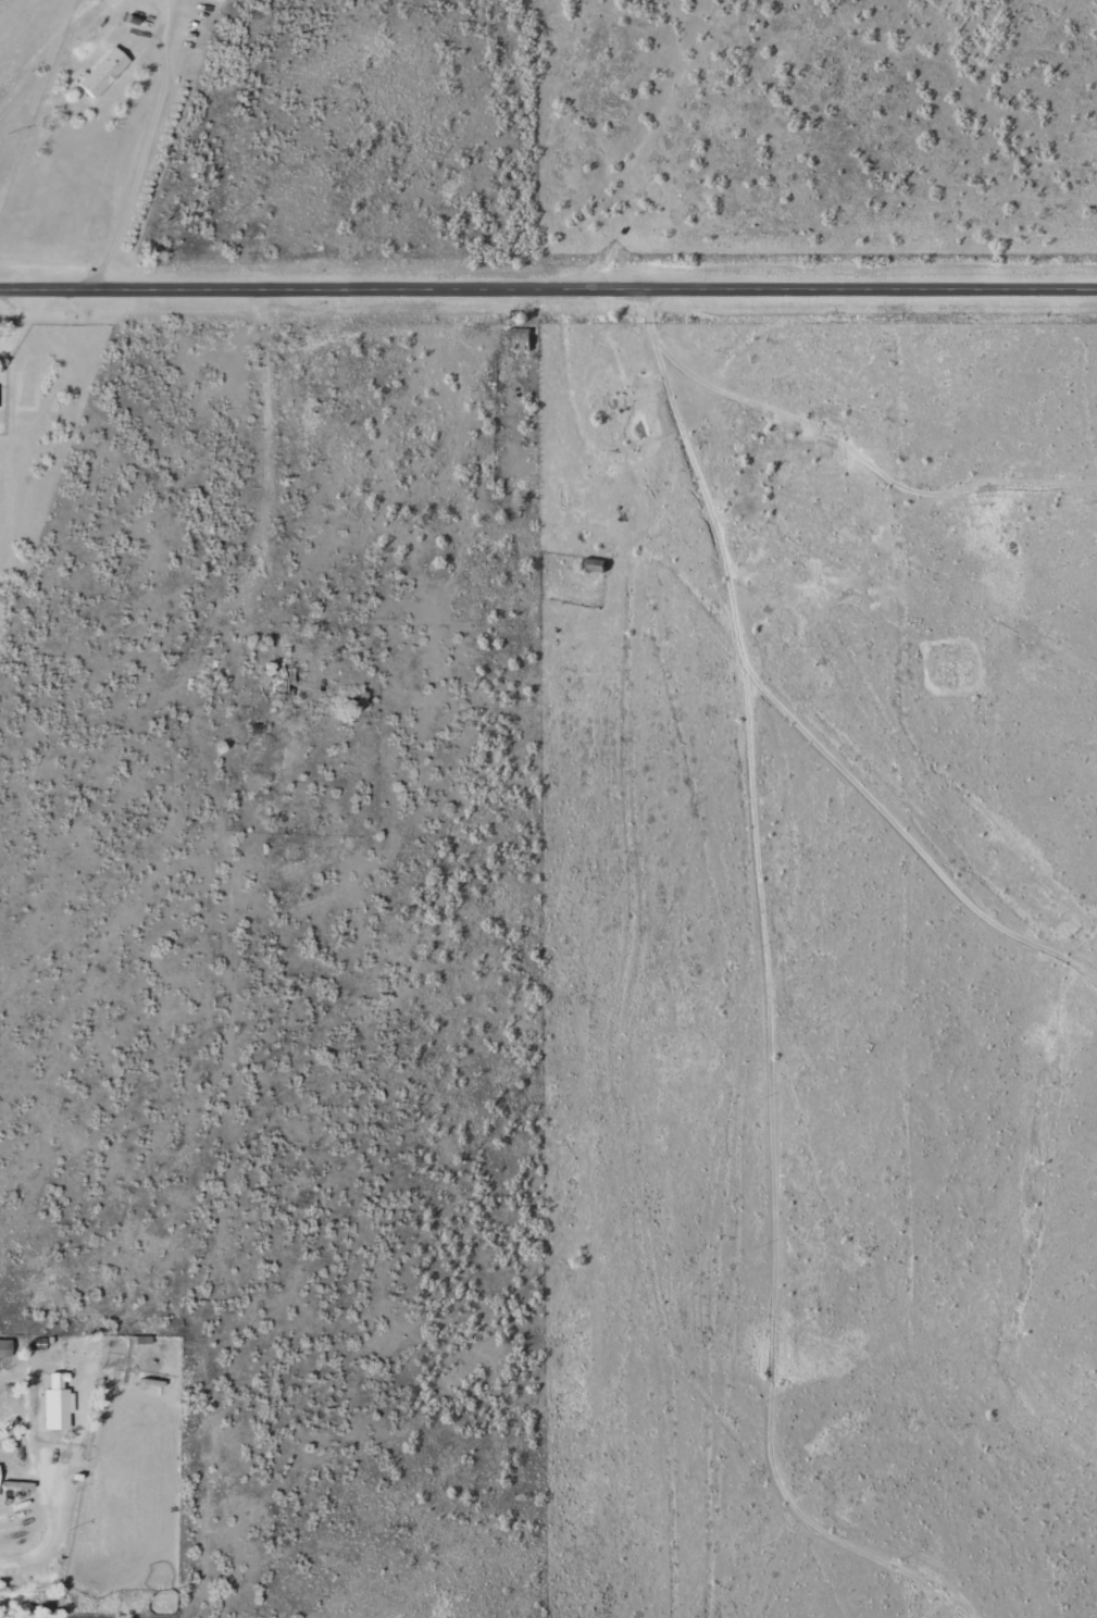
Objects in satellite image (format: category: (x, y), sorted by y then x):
building: (102, 72)
road: (144, 148)
road: (306, 289)
road: (855, 291)
building: (4, 1347)
building: (57, 1403)
road: (10, 1558)

